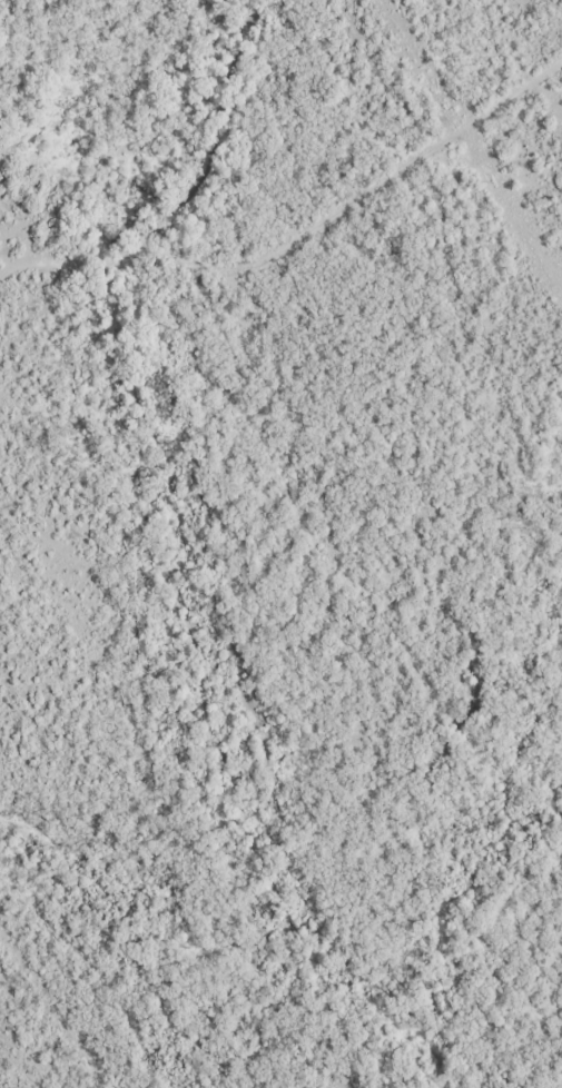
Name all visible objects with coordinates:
road: (297, 263)

